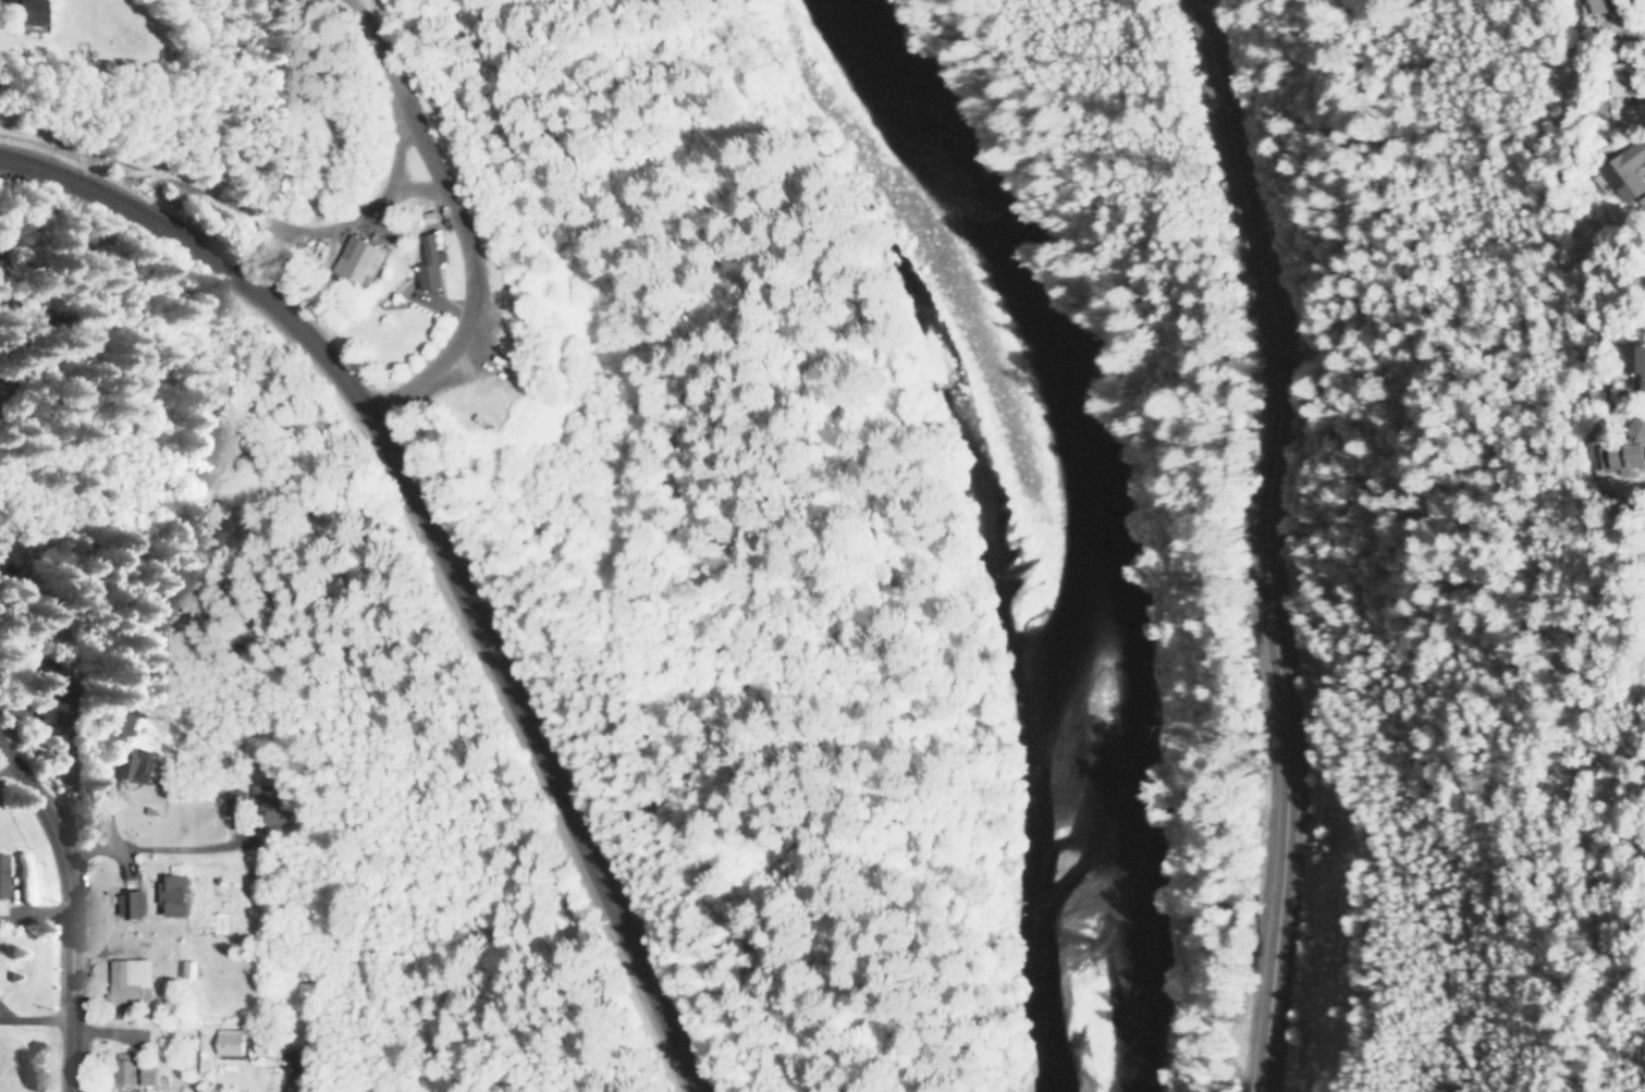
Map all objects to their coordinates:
building: (1603, 5)
building: (25, 12)
building: (1623, 79)
building: (1626, 170)
building: (1642, 201)
road: (469, 211)
building: (359, 258)
building: (430, 262)
road: (56, 327)
building: (1635, 364)
park: (154, 380)
building: (1626, 449)
river: (1122, 520)
road: (450, 540)
road: (1265, 542)
building: (51, 711)
building: (138, 765)
building: (233, 801)
building: (268, 802)
building: (2, 874)
building: (173, 895)
building: (131, 904)
road: (61, 906)
building: (187, 968)
building: (128, 980)
building: (300, 982)
building: (230, 1042)
building: (123, 1067)
building: (149, 1075)

